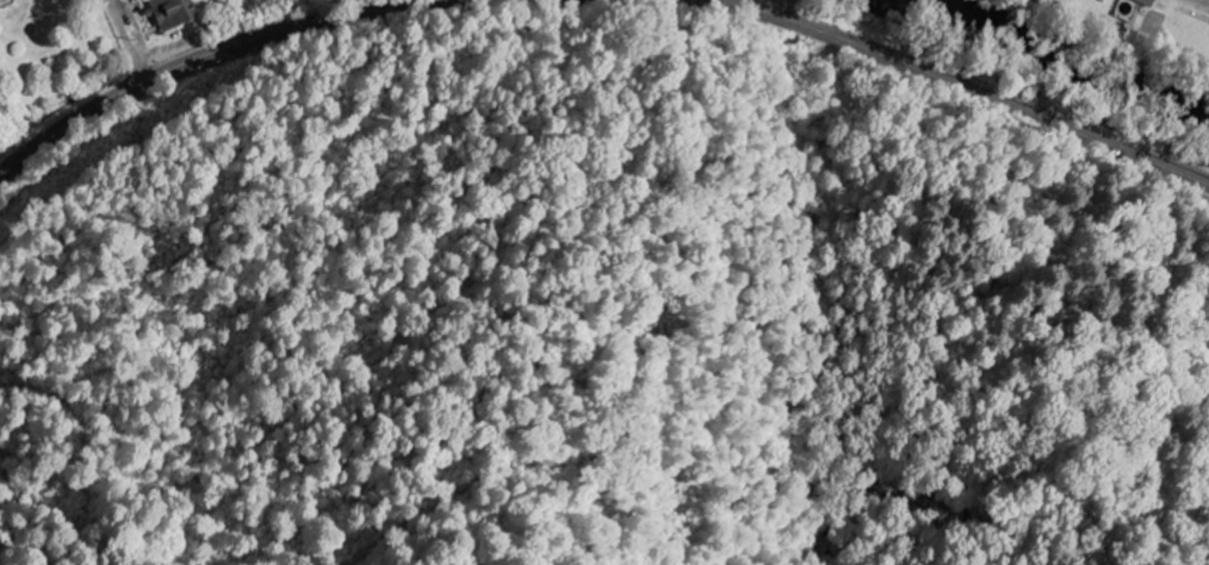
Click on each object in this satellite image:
building: (1145, 1)
building: (175, 12)
road: (1133, 29)
road: (128, 41)
road: (218, 50)
river: (1081, 56)
road: (963, 86)

